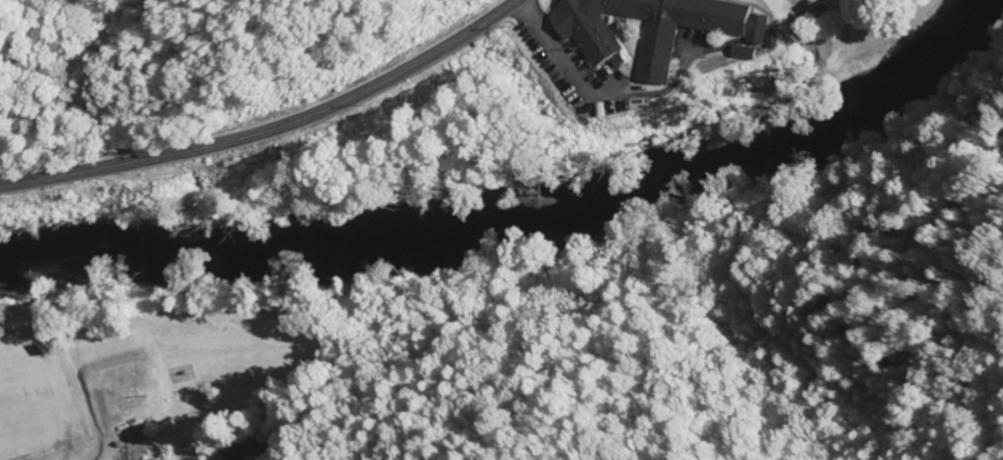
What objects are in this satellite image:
building: (650, 28)
building: (773, 40)
road: (269, 127)
river: (521, 226)
park: (16, 403)
building: (144, 459)

